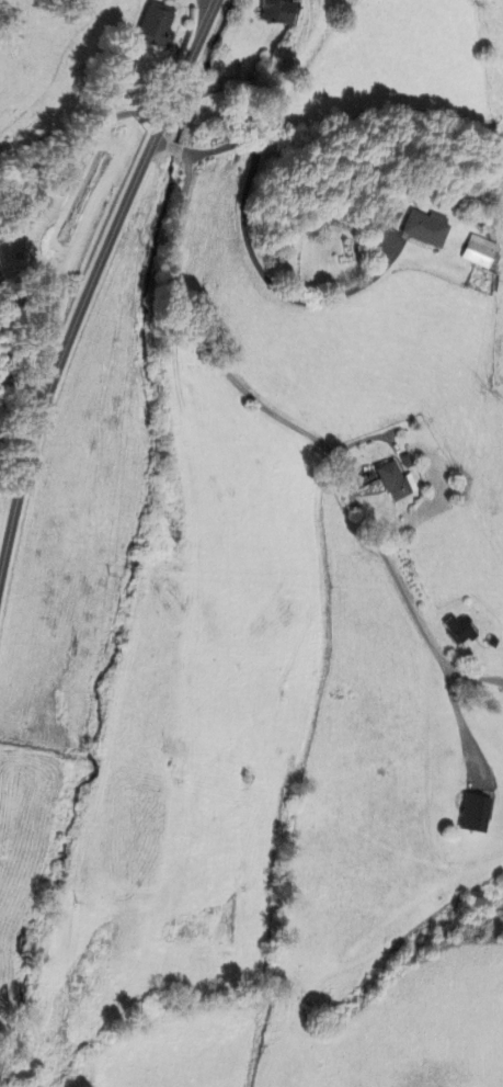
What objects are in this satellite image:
building: (277, 13)
building: (156, 26)
road: (79, 137)
building: (425, 229)
building: (480, 254)
road: (256, 262)
road: (88, 287)
road: (11, 353)
road: (289, 424)
building: (397, 484)
building: (460, 632)
building: (475, 813)

